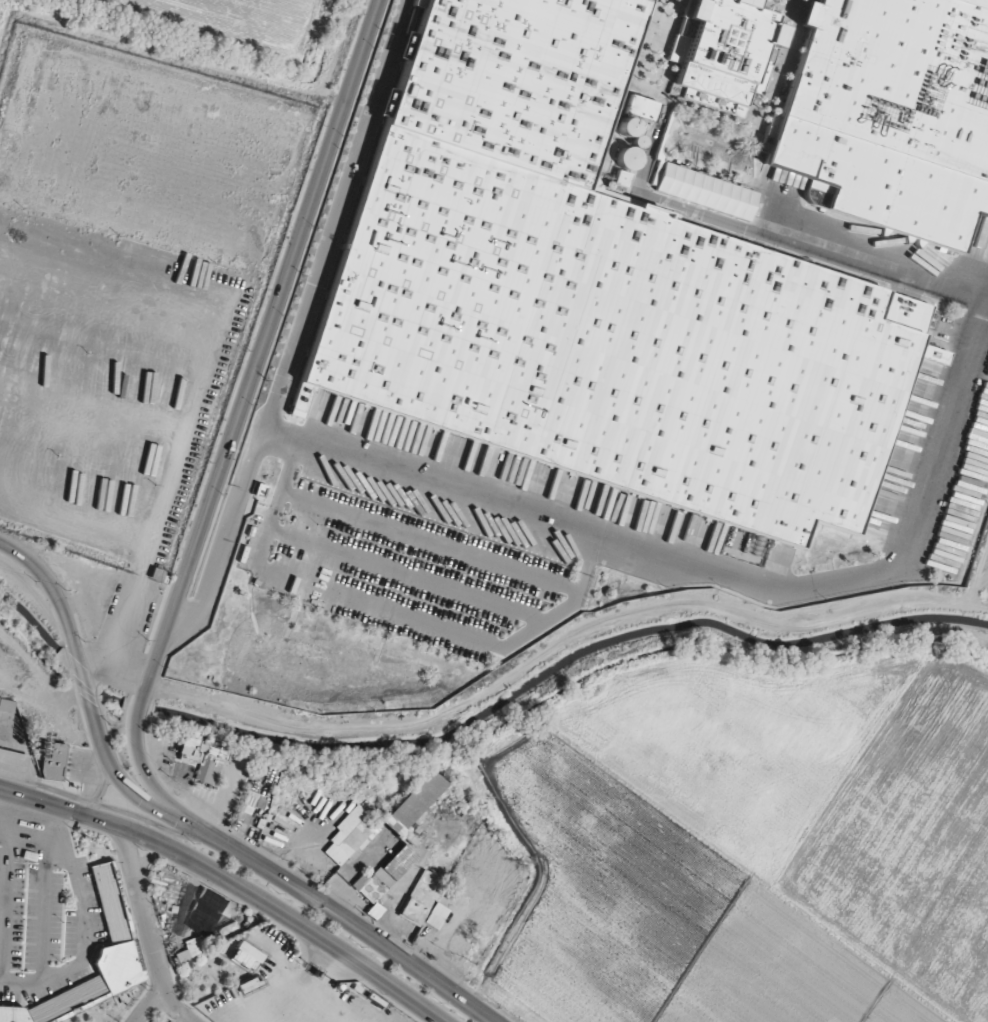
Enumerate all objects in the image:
parking lot: (48, 930)
park: (206, 976)
park: (122, 1013)

